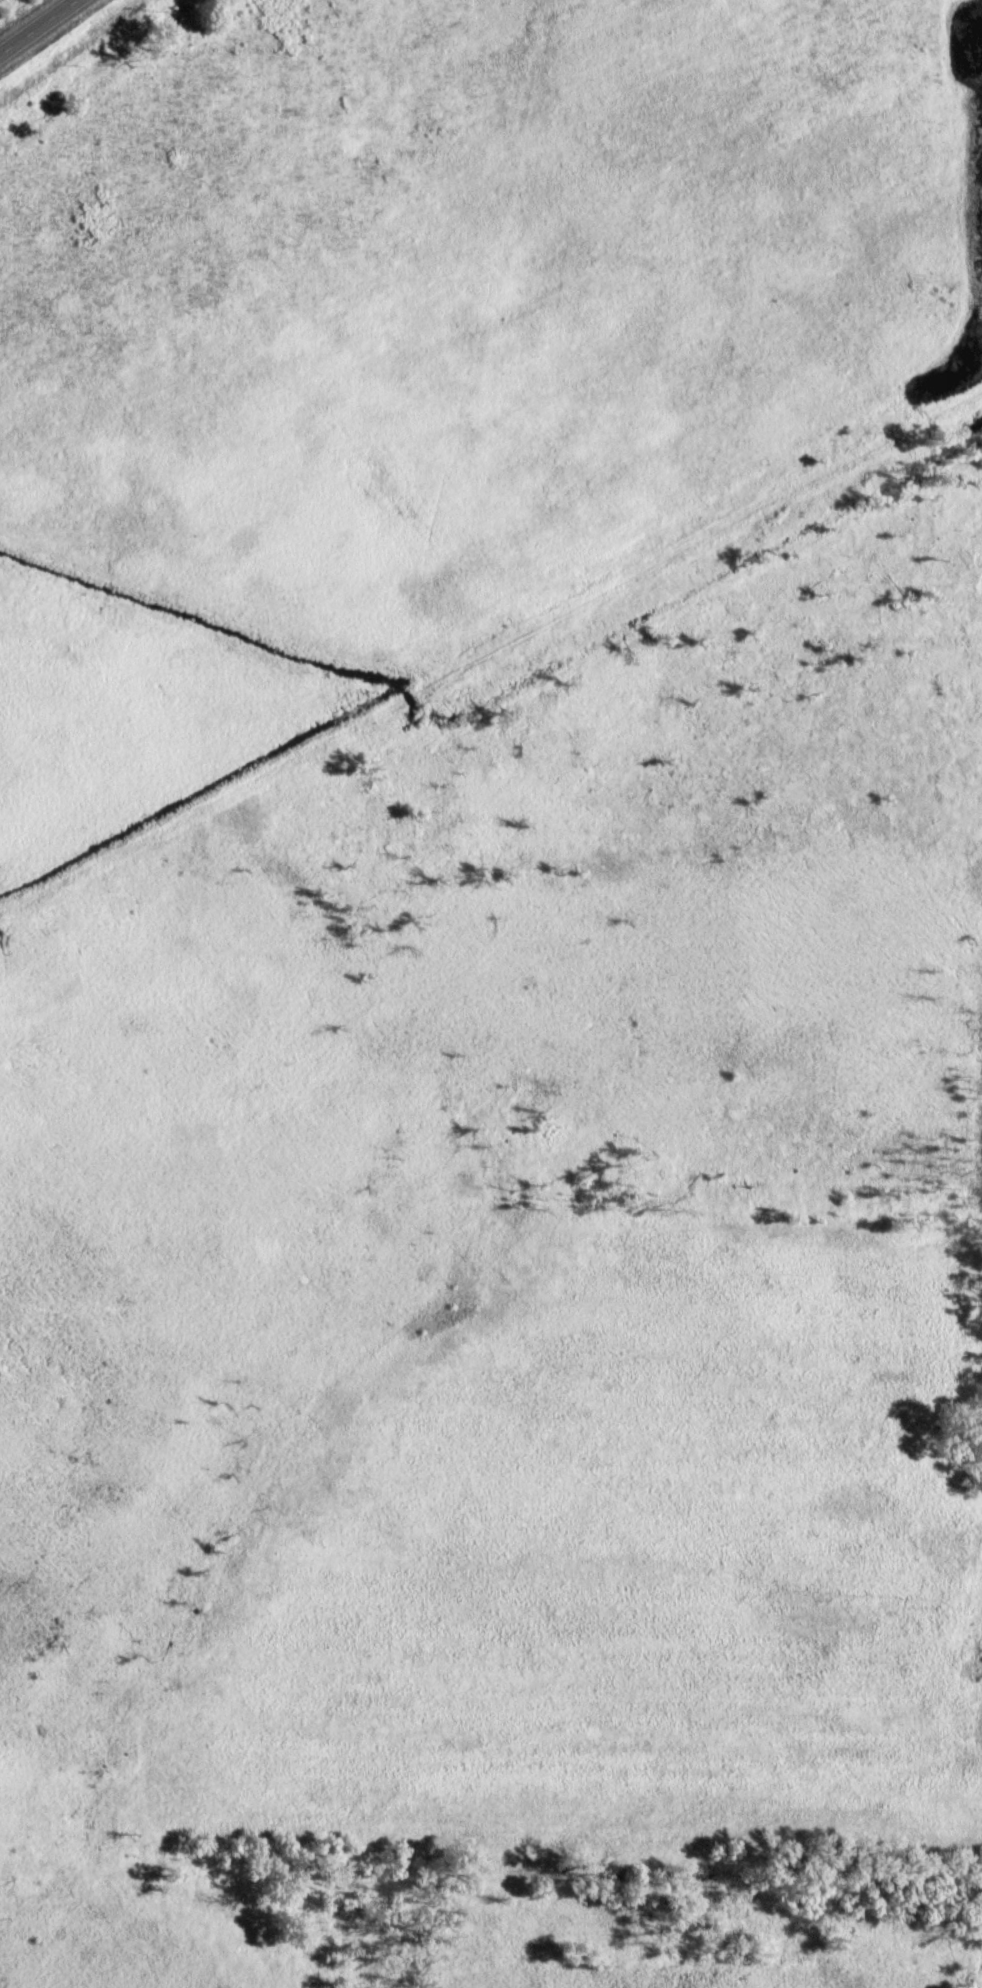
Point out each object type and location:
road: (59, 42)

